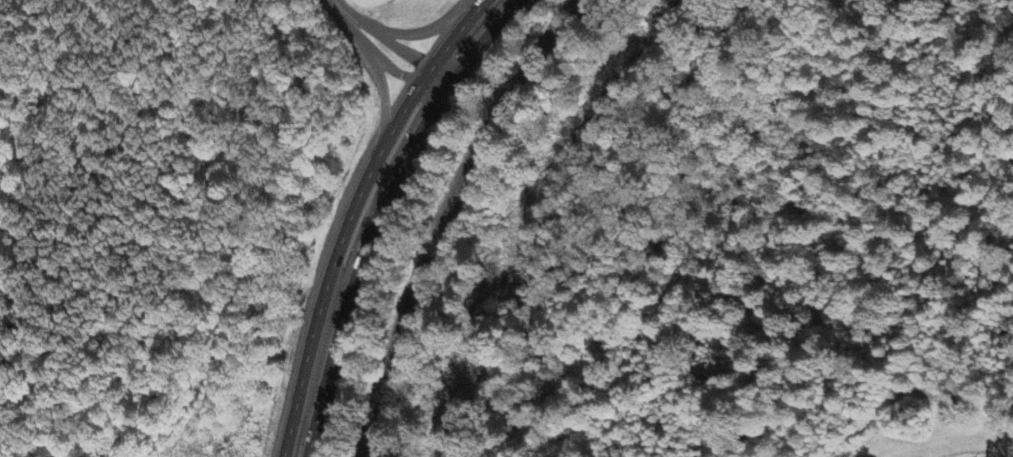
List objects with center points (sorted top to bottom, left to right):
road: (335, 3)
road: (425, 29)
road: (352, 32)
park: (373, 34)
road: (454, 34)
road: (385, 36)
road: (486, 36)
road: (395, 69)
road: (425, 74)
road: (430, 75)
road: (444, 77)
road: (427, 78)
road: (383, 109)
road: (397, 121)
road: (405, 157)
road: (391, 160)
railway: (442, 213)
road: (663, 224)
road: (319, 308)
road: (333, 351)

